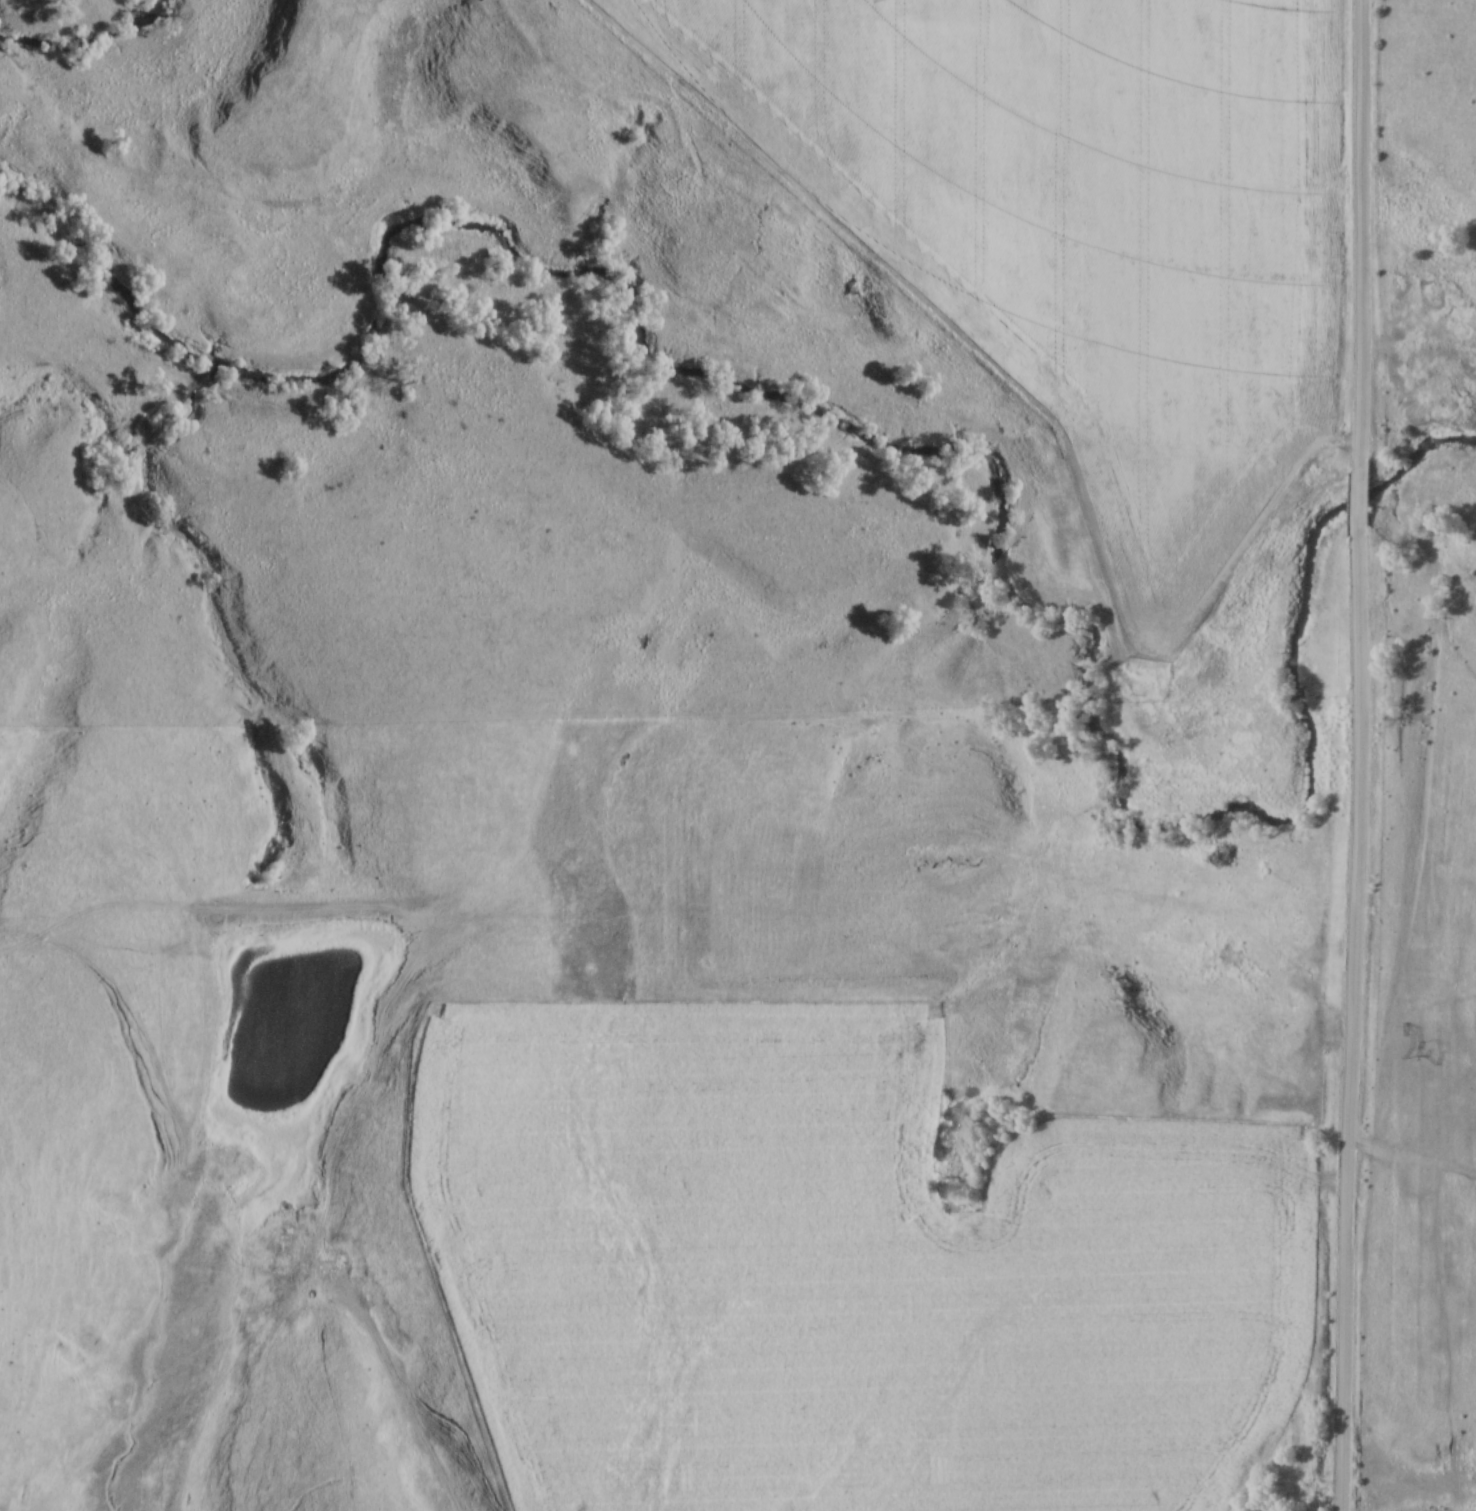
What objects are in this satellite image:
road: (1361, 755)

